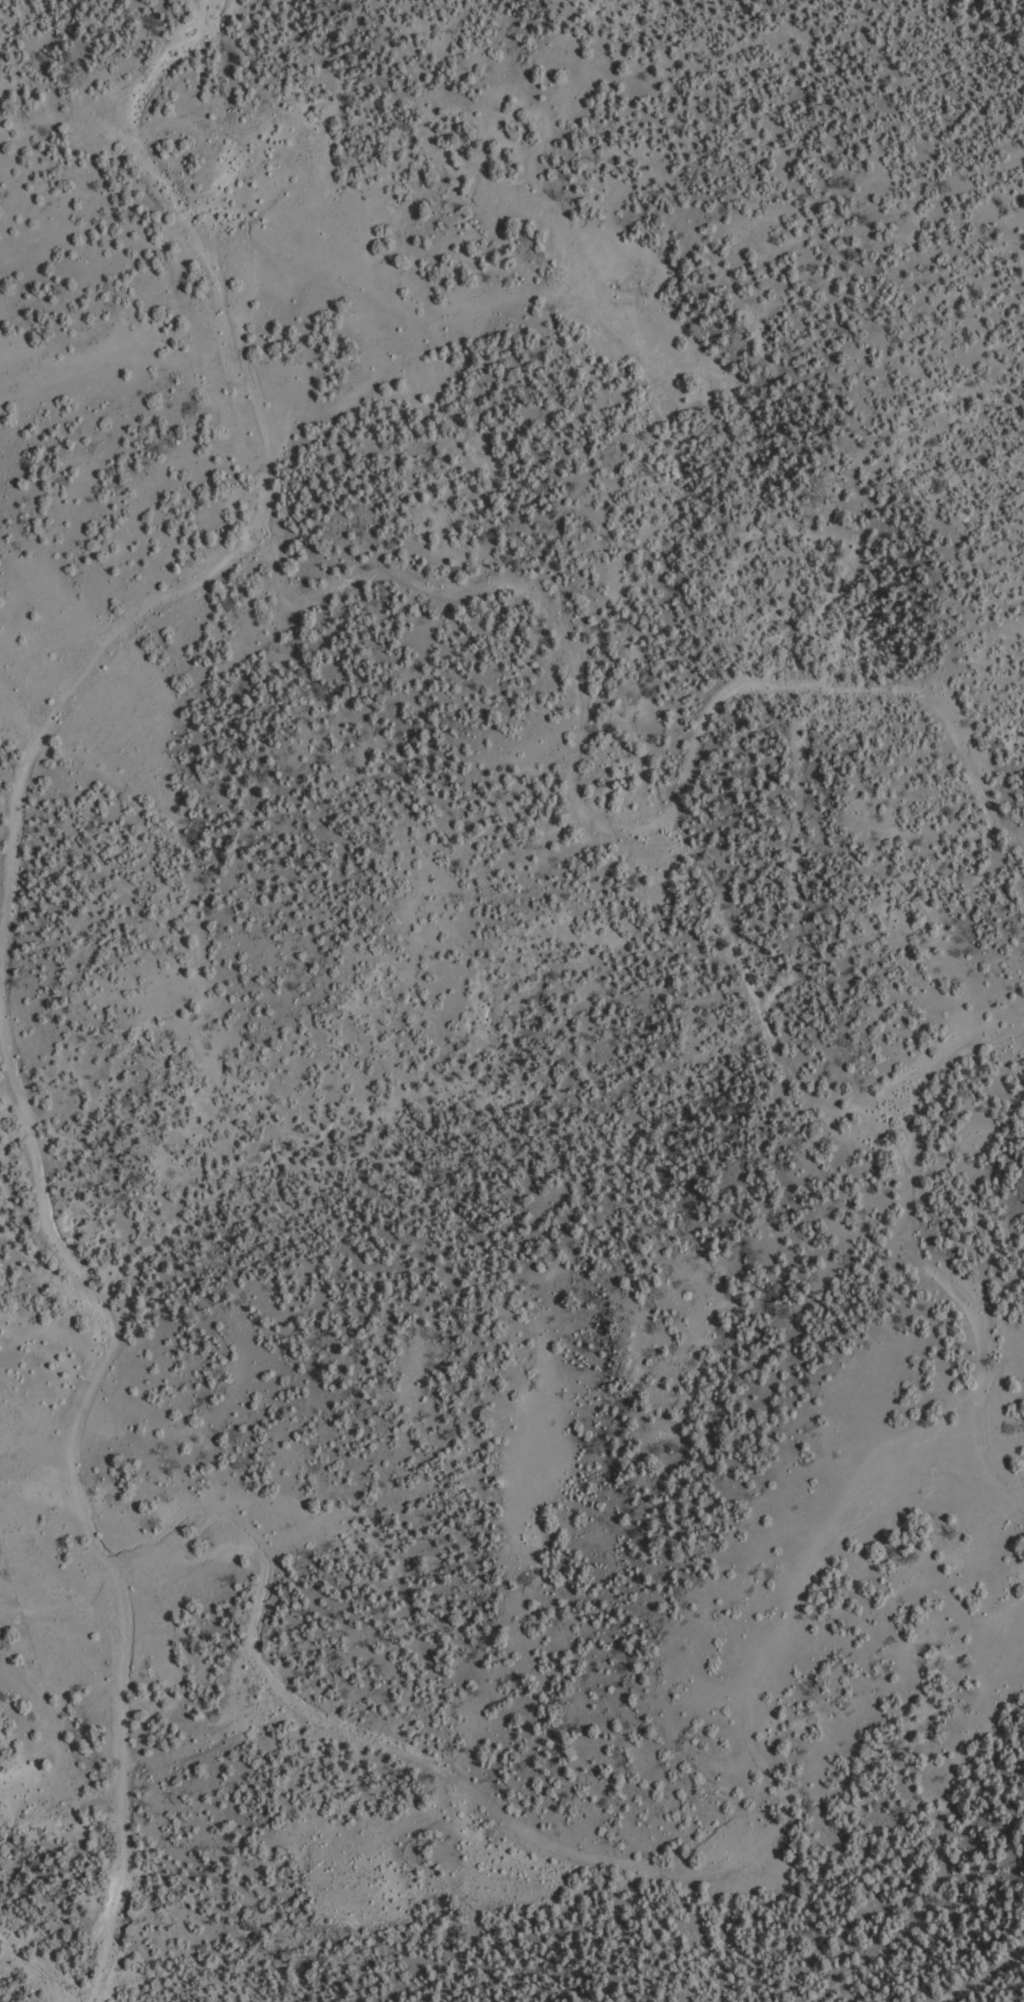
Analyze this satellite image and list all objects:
road: (618, 849)
road: (10, 975)
road: (802, 992)
road: (1008, 1521)
road: (51, 1601)

